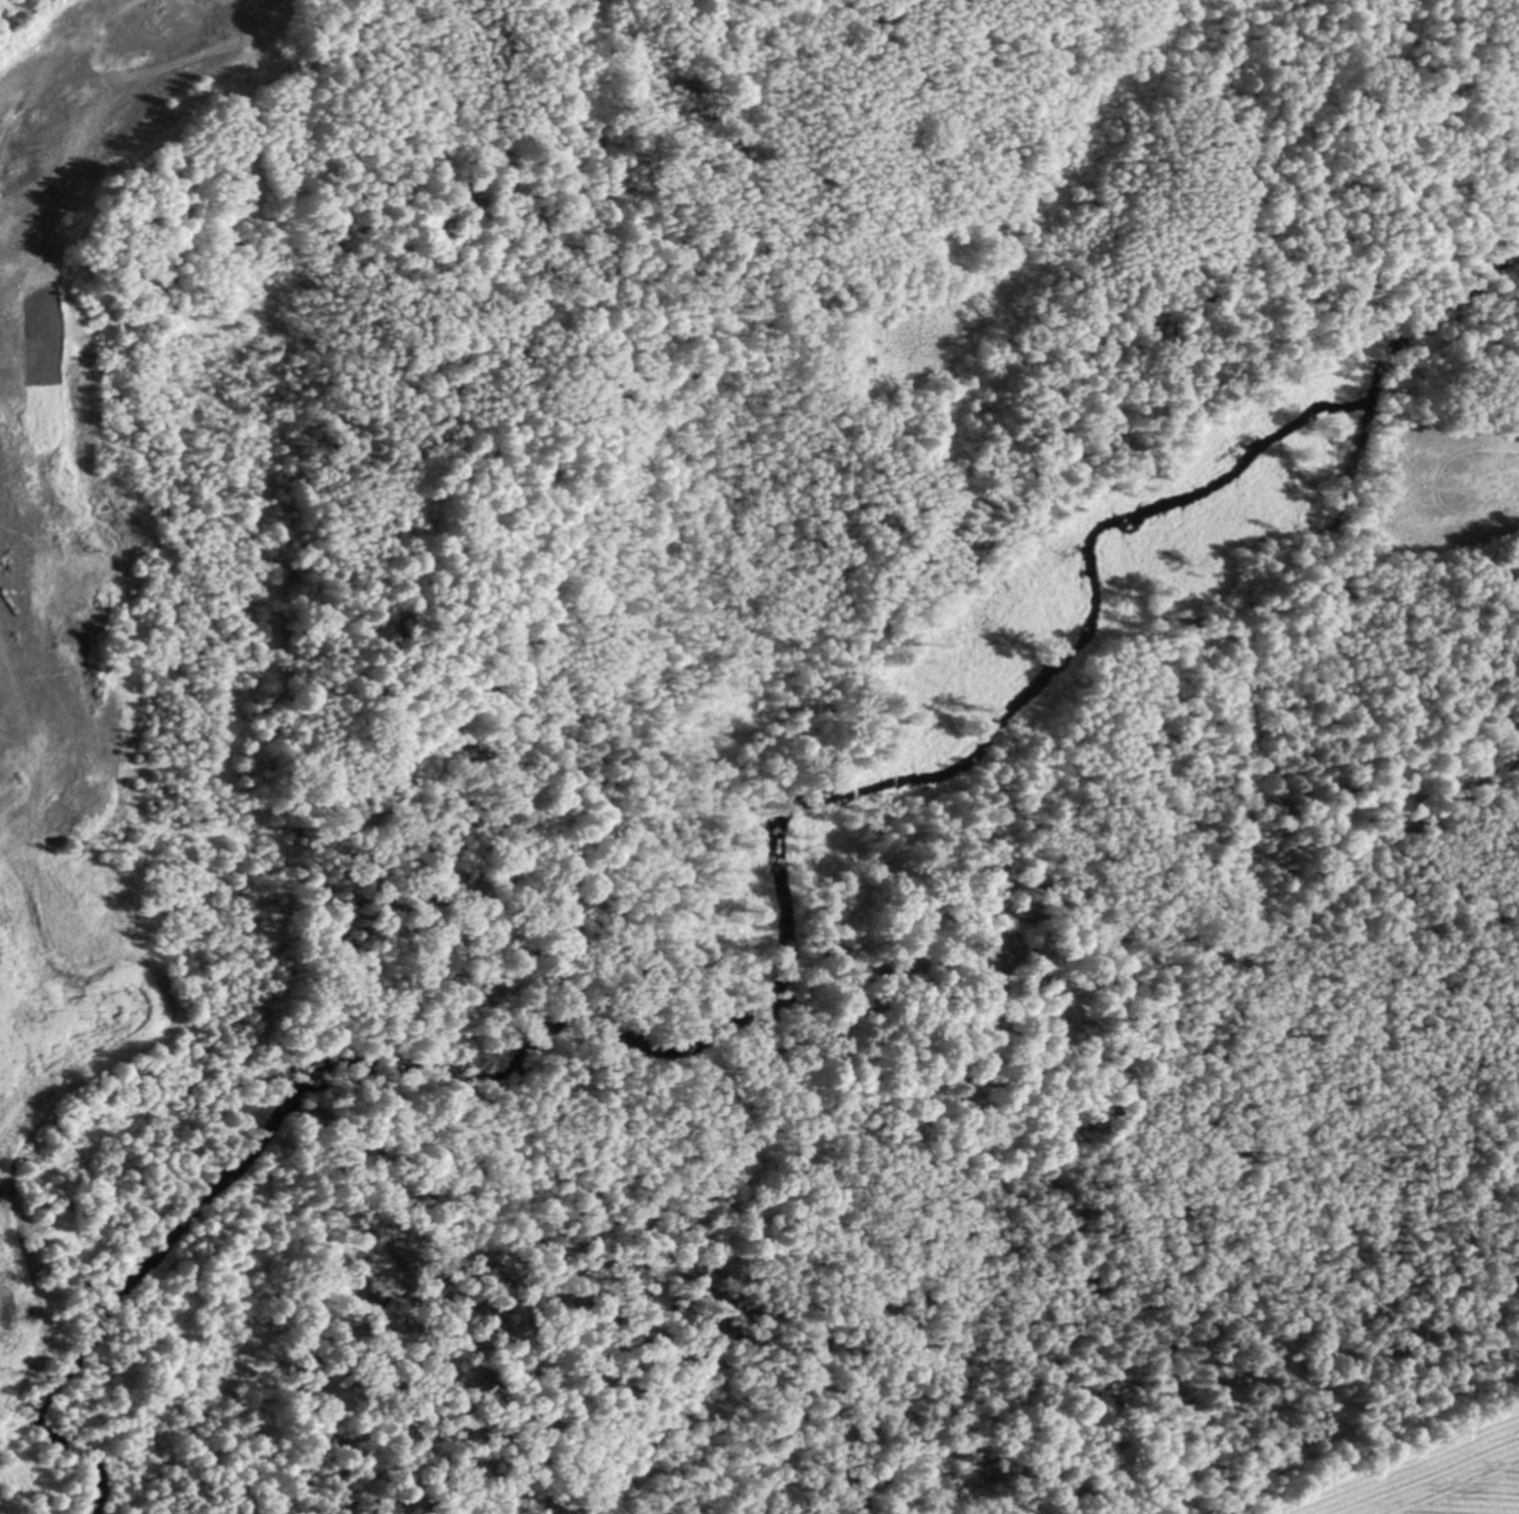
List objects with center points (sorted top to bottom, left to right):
quarry: (135, 367)
road: (10, 580)

